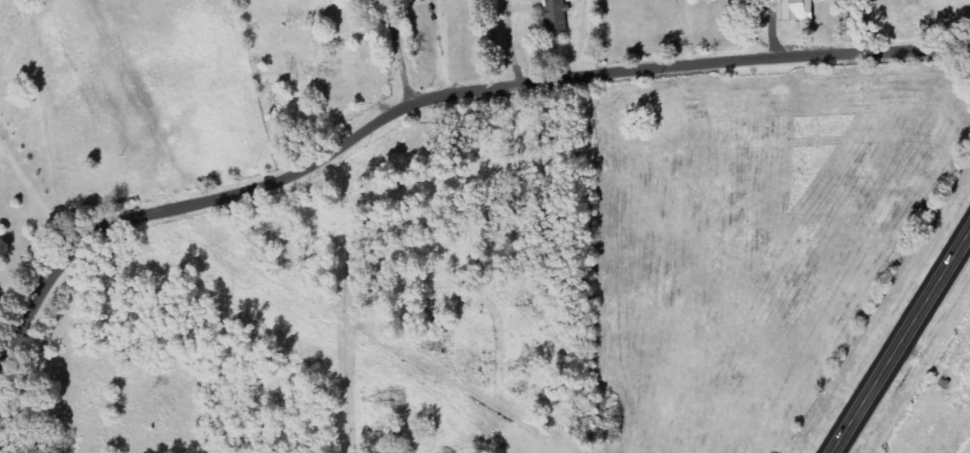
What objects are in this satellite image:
building: (800, 10)
building: (556, 15)
road: (405, 70)
road: (597, 74)
road: (427, 134)
road: (902, 342)

